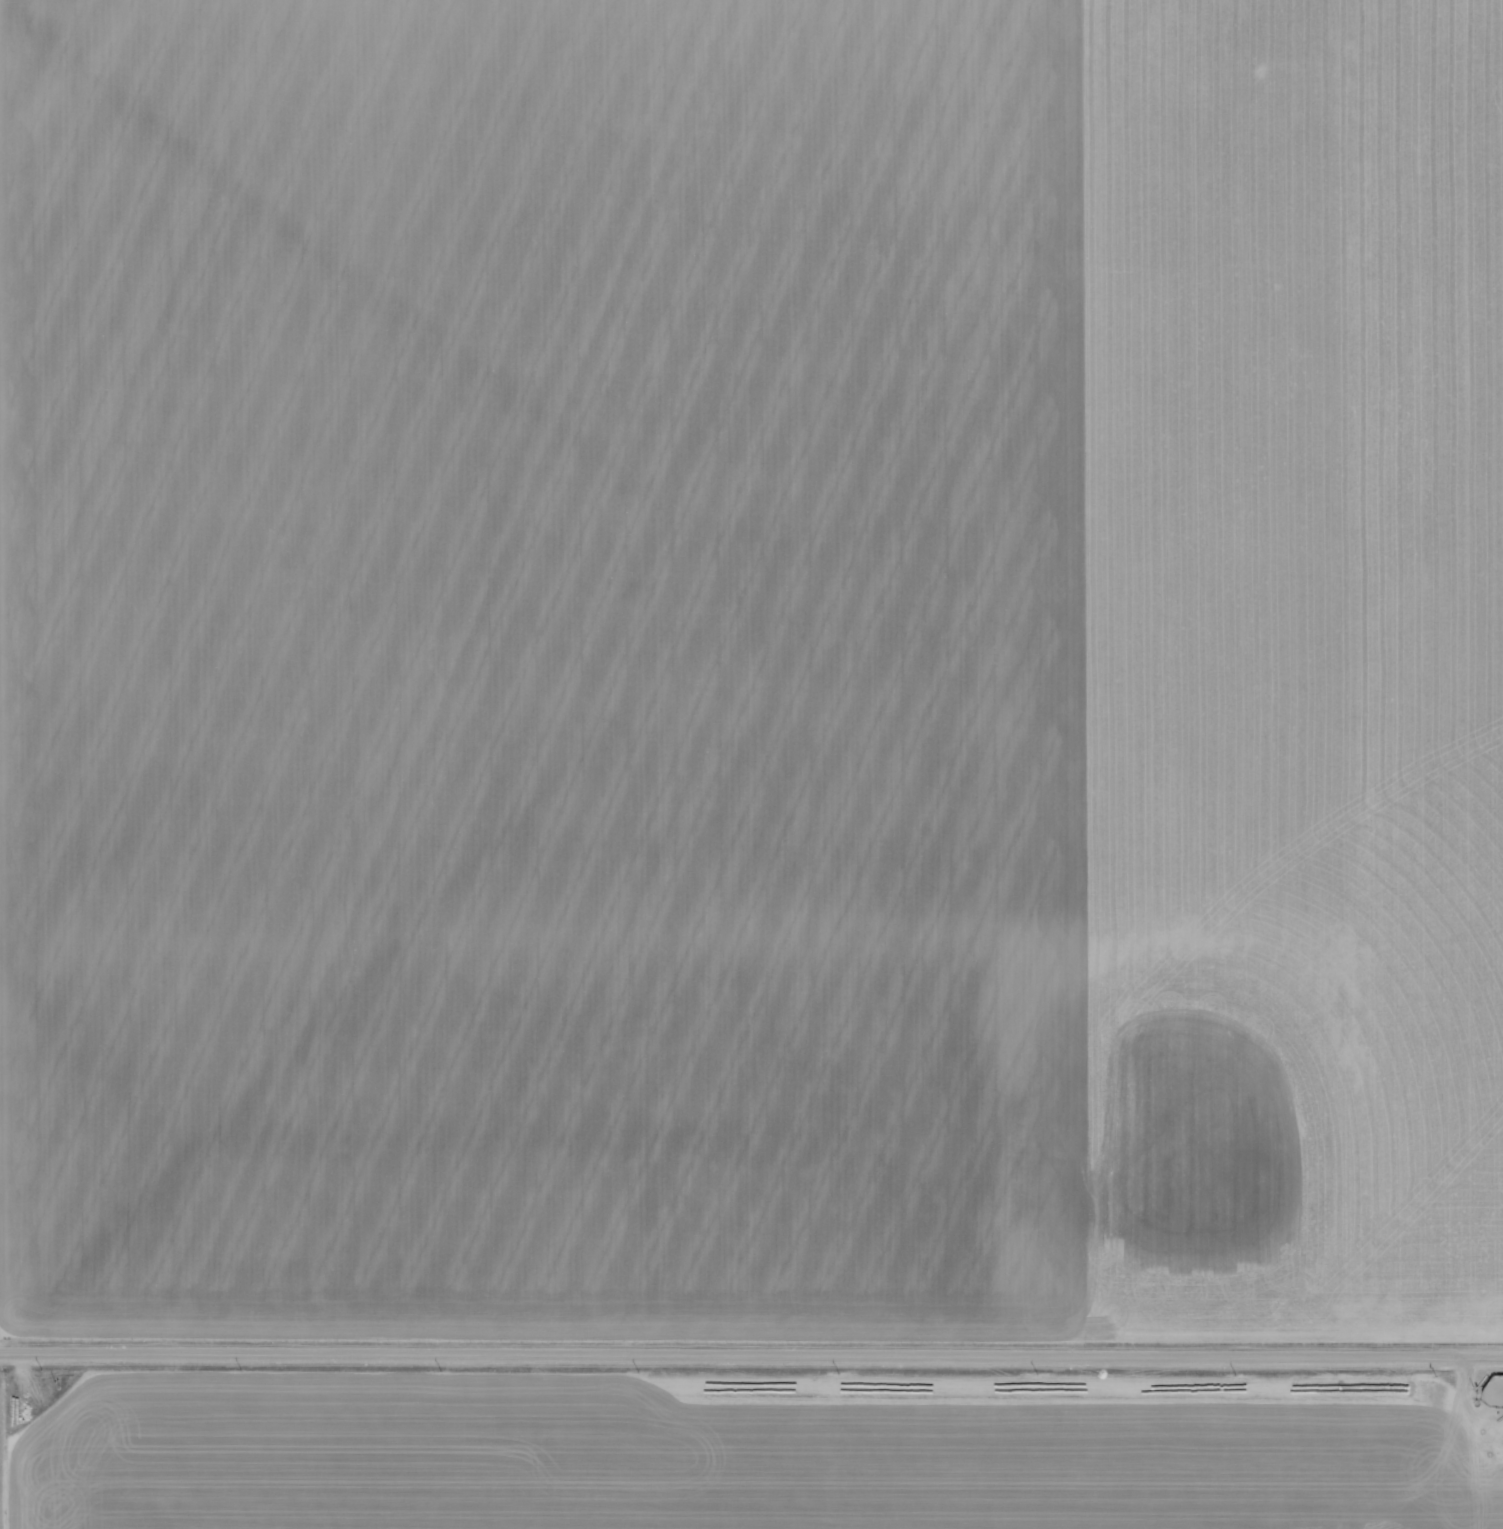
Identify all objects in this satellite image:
road: (751, 1357)
road: (1437, 1444)

